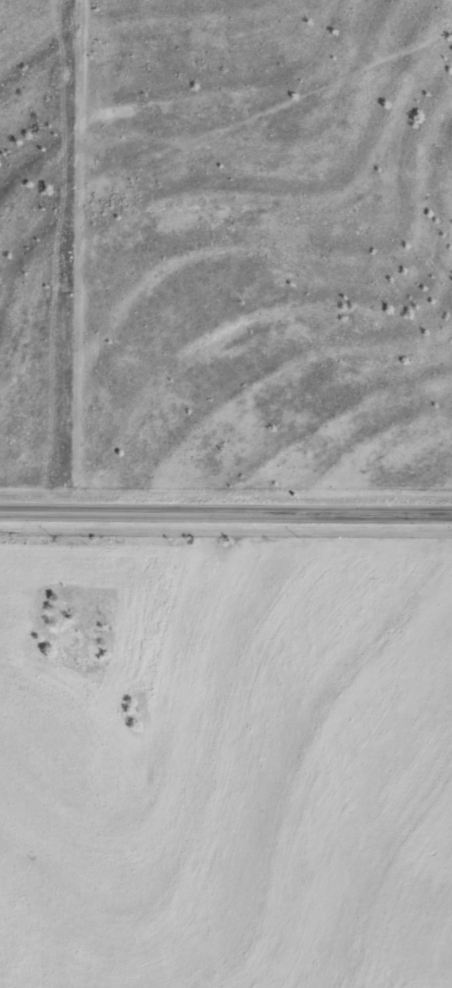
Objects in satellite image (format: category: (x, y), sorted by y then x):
road: (226, 514)

